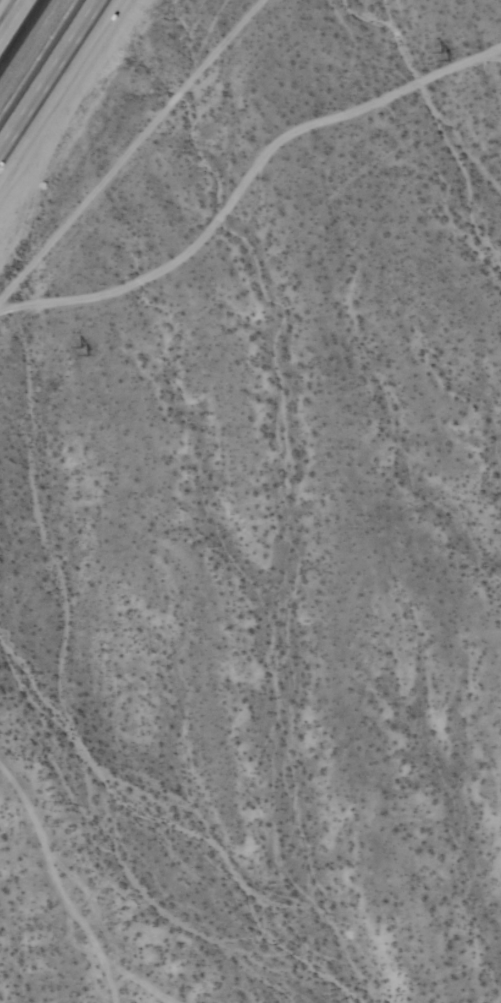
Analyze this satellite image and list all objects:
road: (10, 15)
railway: (28, 43)
road: (50, 78)

